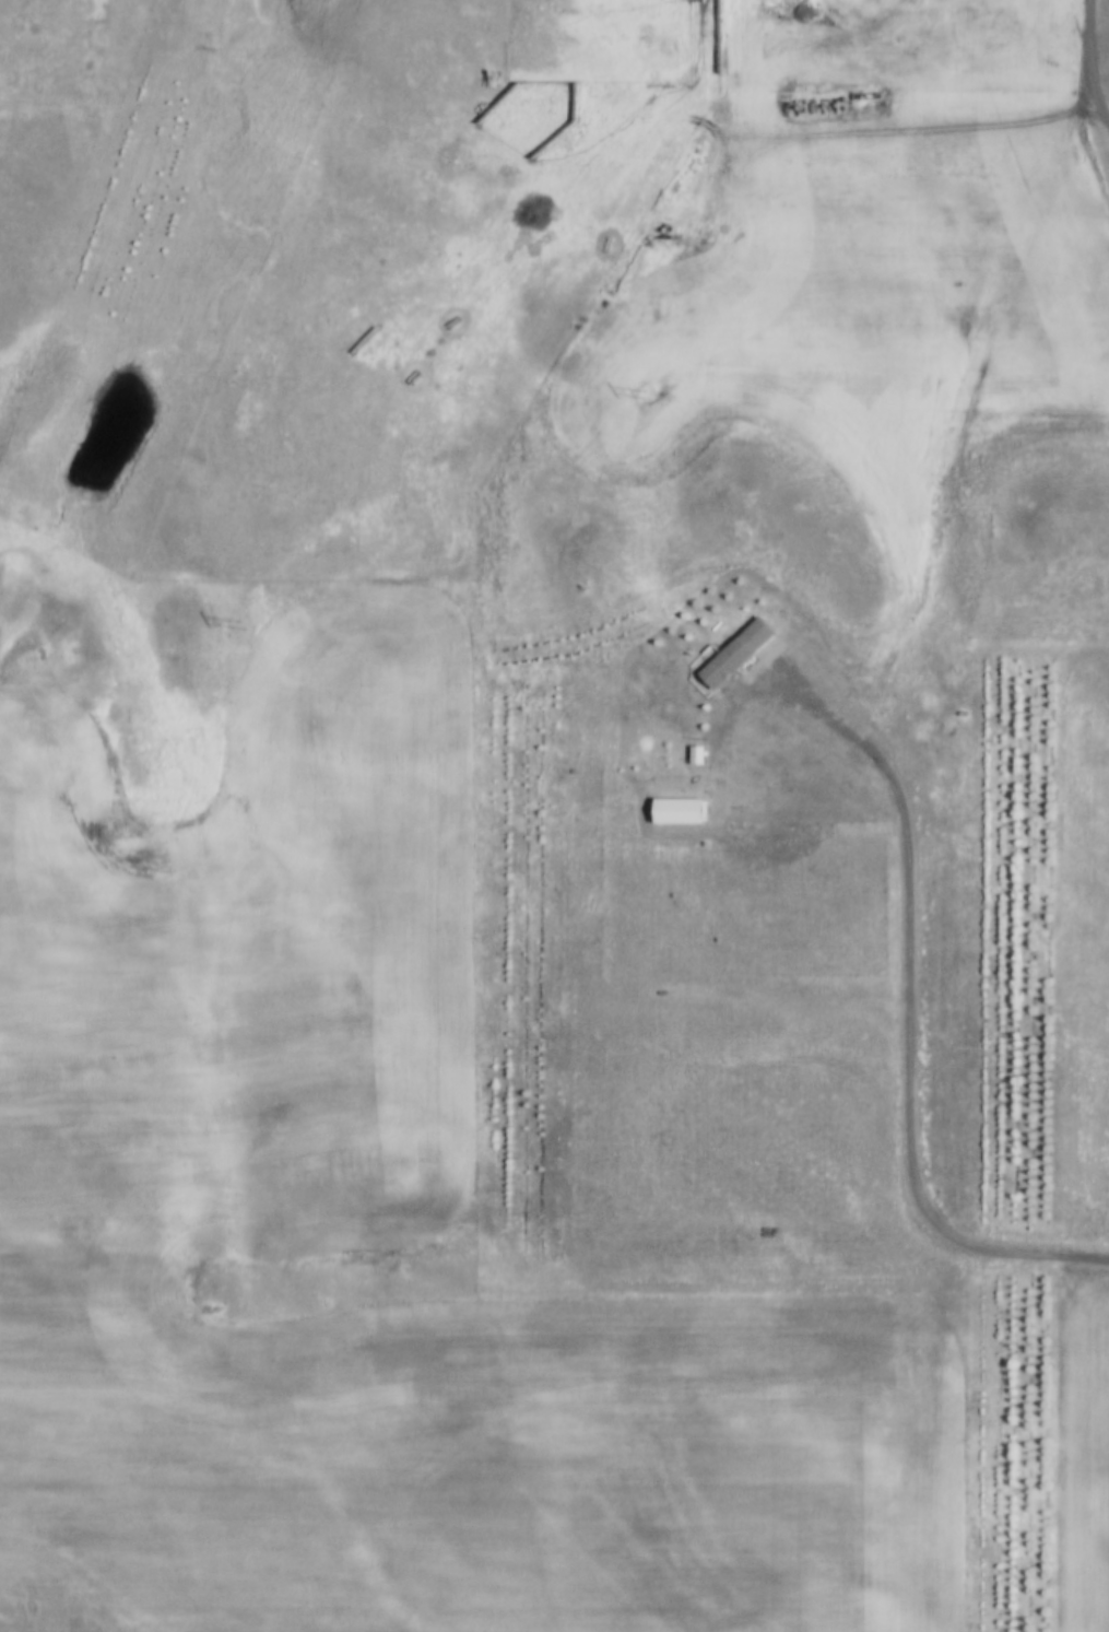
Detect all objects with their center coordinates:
building: (741, 656)
building: (700, 756)

